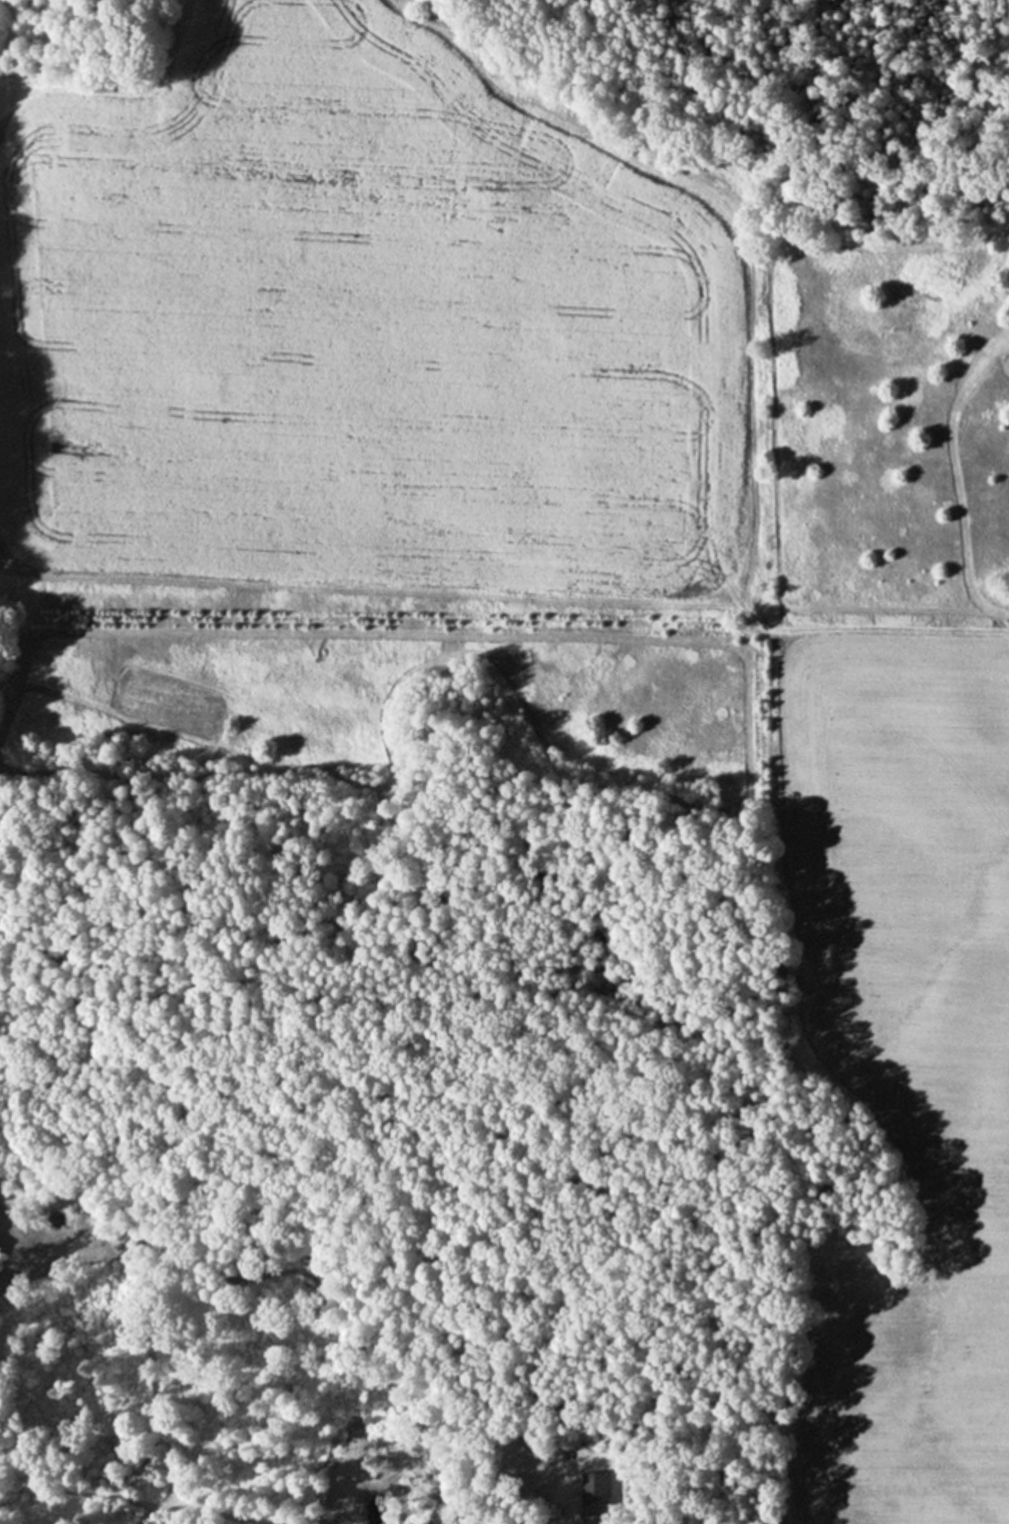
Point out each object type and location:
building: (595, 1498)

